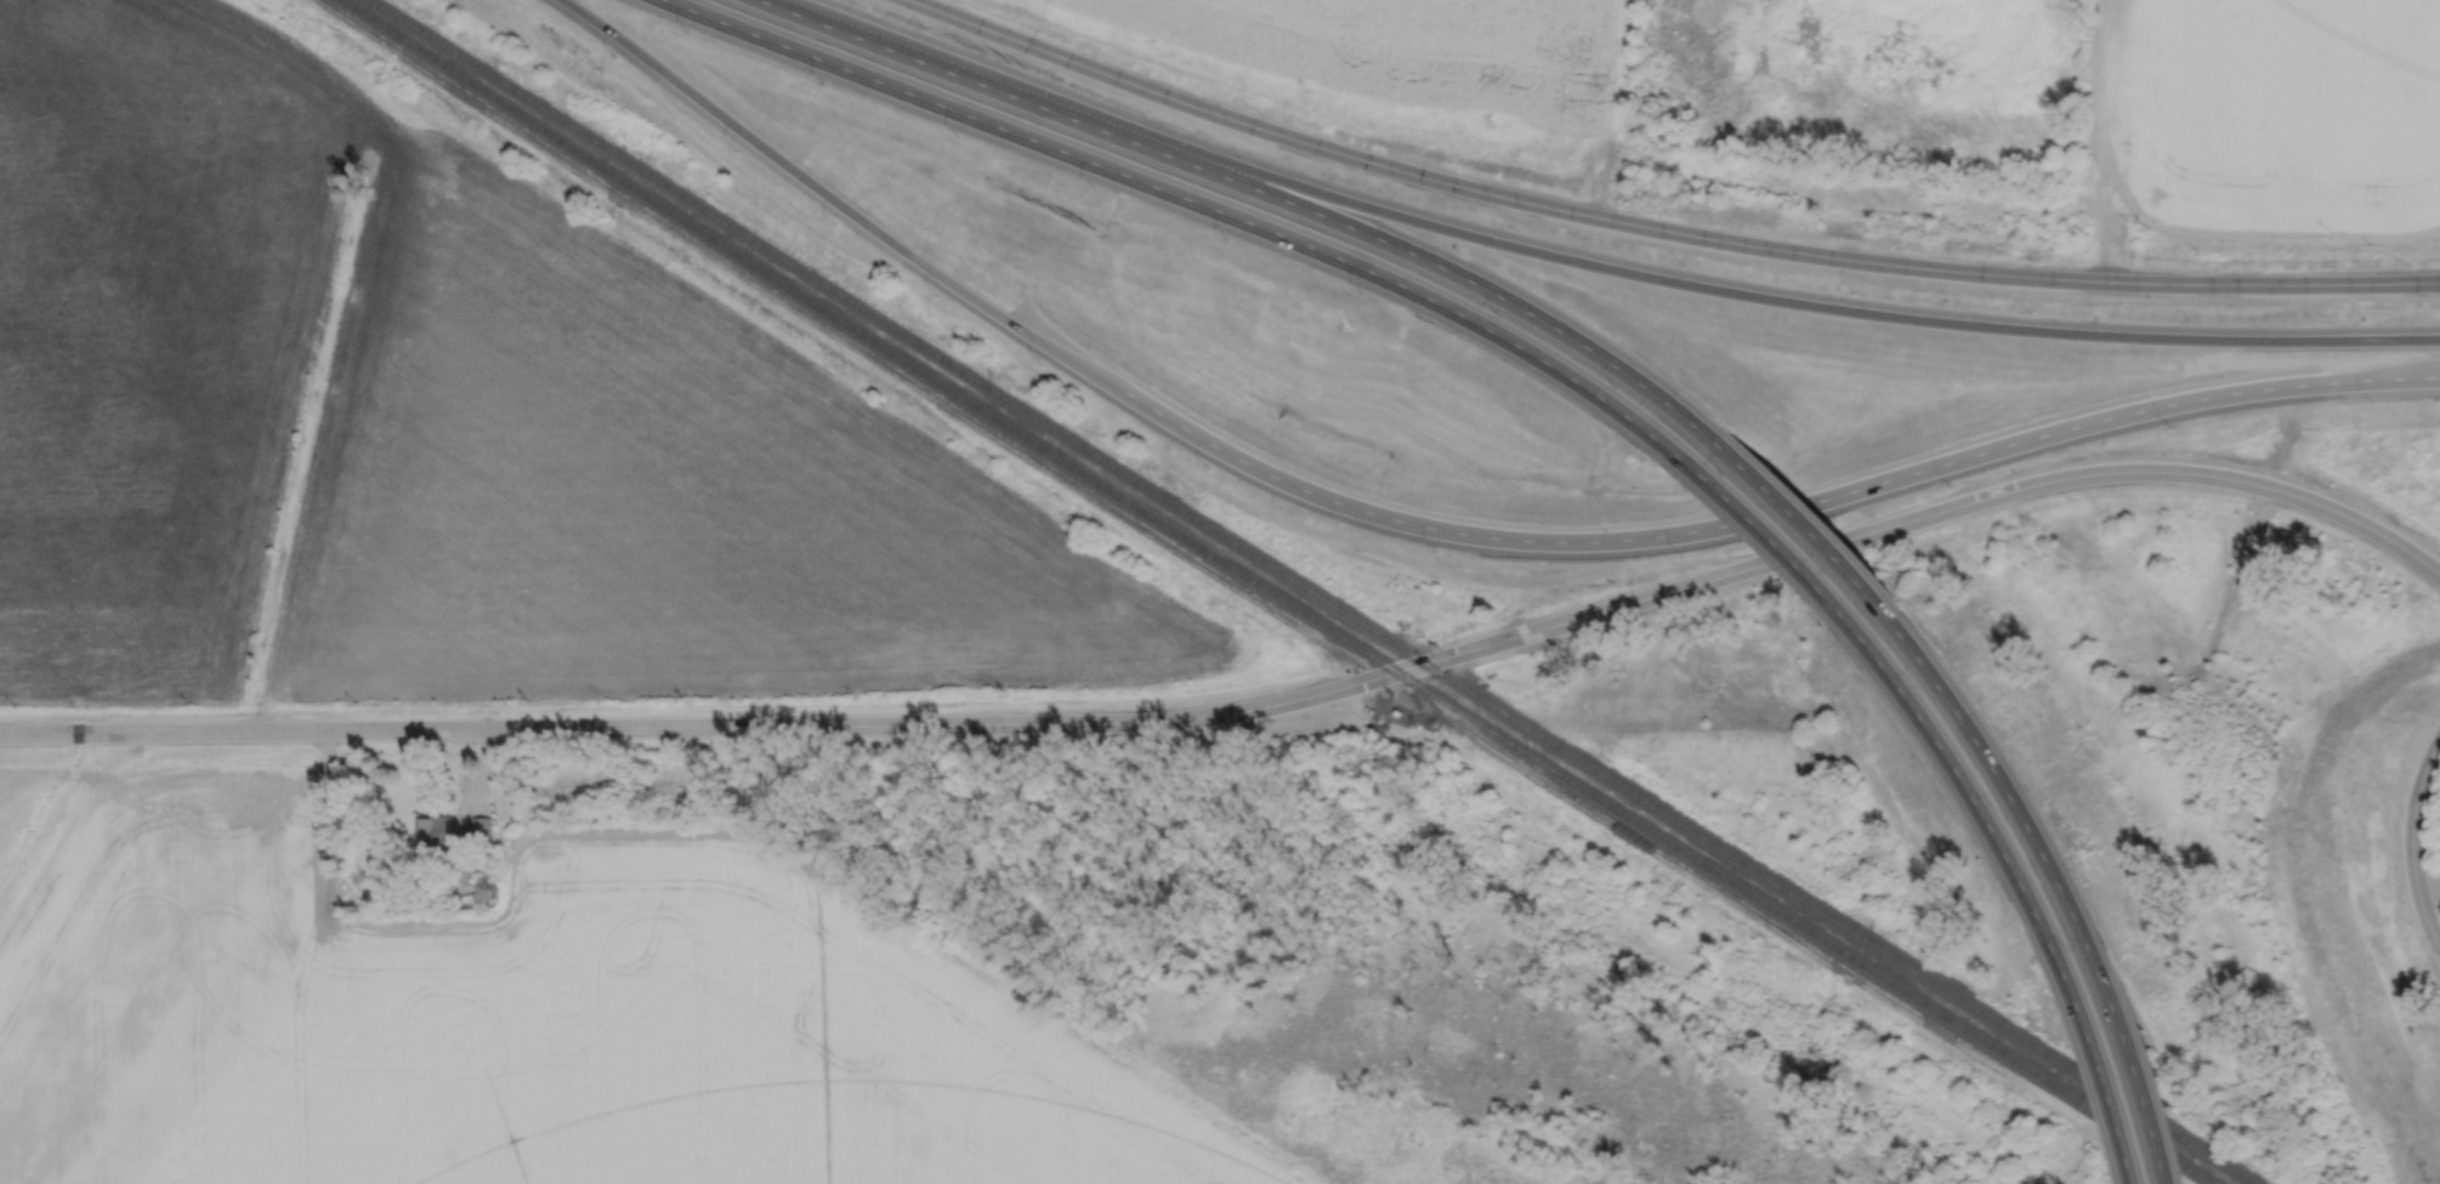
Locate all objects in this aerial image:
road: (787, 10)
crop: (1411, 50)
crop: (2270, 113)
road: (1278, 197)
road: (1186, 198)
road: (1659, 228)
road: (912, 256)
road: (1610, 268)
road: (1859, 488)
road: (1794, 512)
road: (1760, 525)
railway: (1311, 591)
railway: (1275, 594)
road: (1248, 708)
building: (1403, 711)
road: (1958, 762)
road: (2003, 765)
road: (476, 784)
building: (481, 827)
building: (433, 839)
road: (2412, 844)
building: (464, 869)
crop: (527, 1020)
road: (2098, 1059)
road: (2138, 1070)

